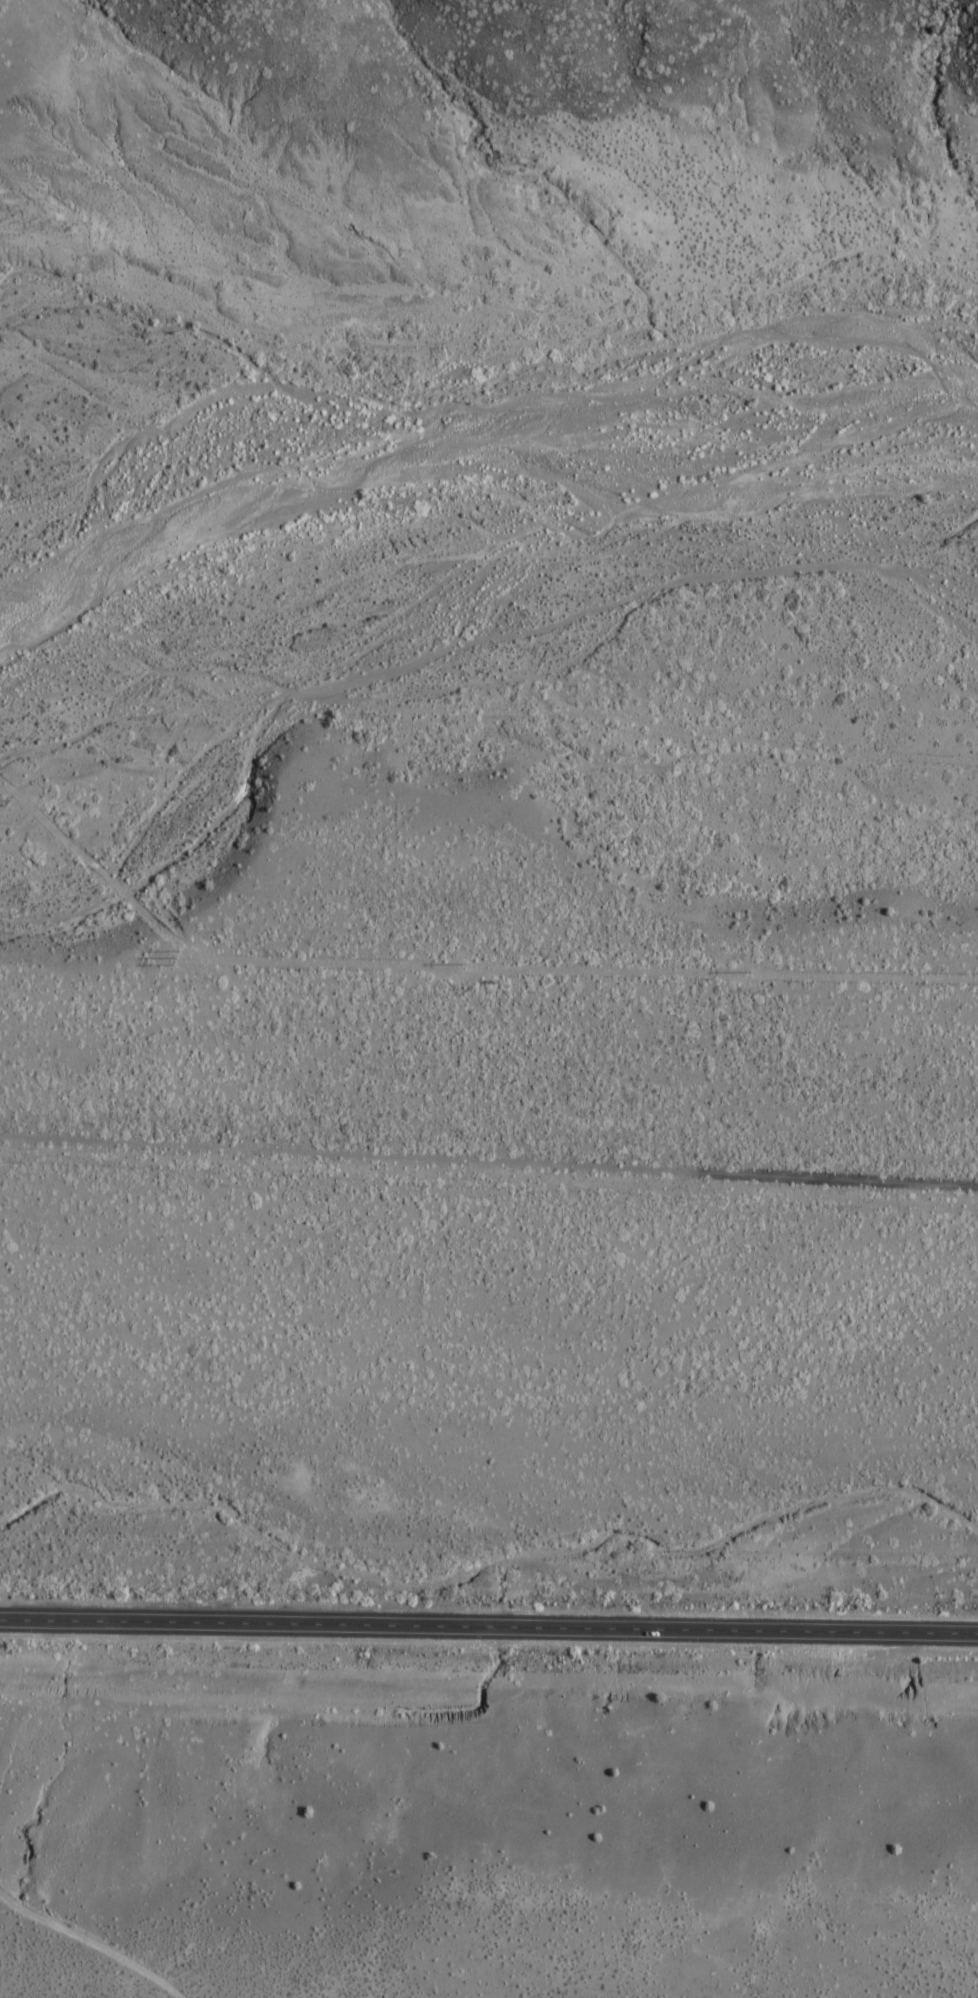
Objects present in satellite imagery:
road: (488, 1627)
road: (88, 1946)

